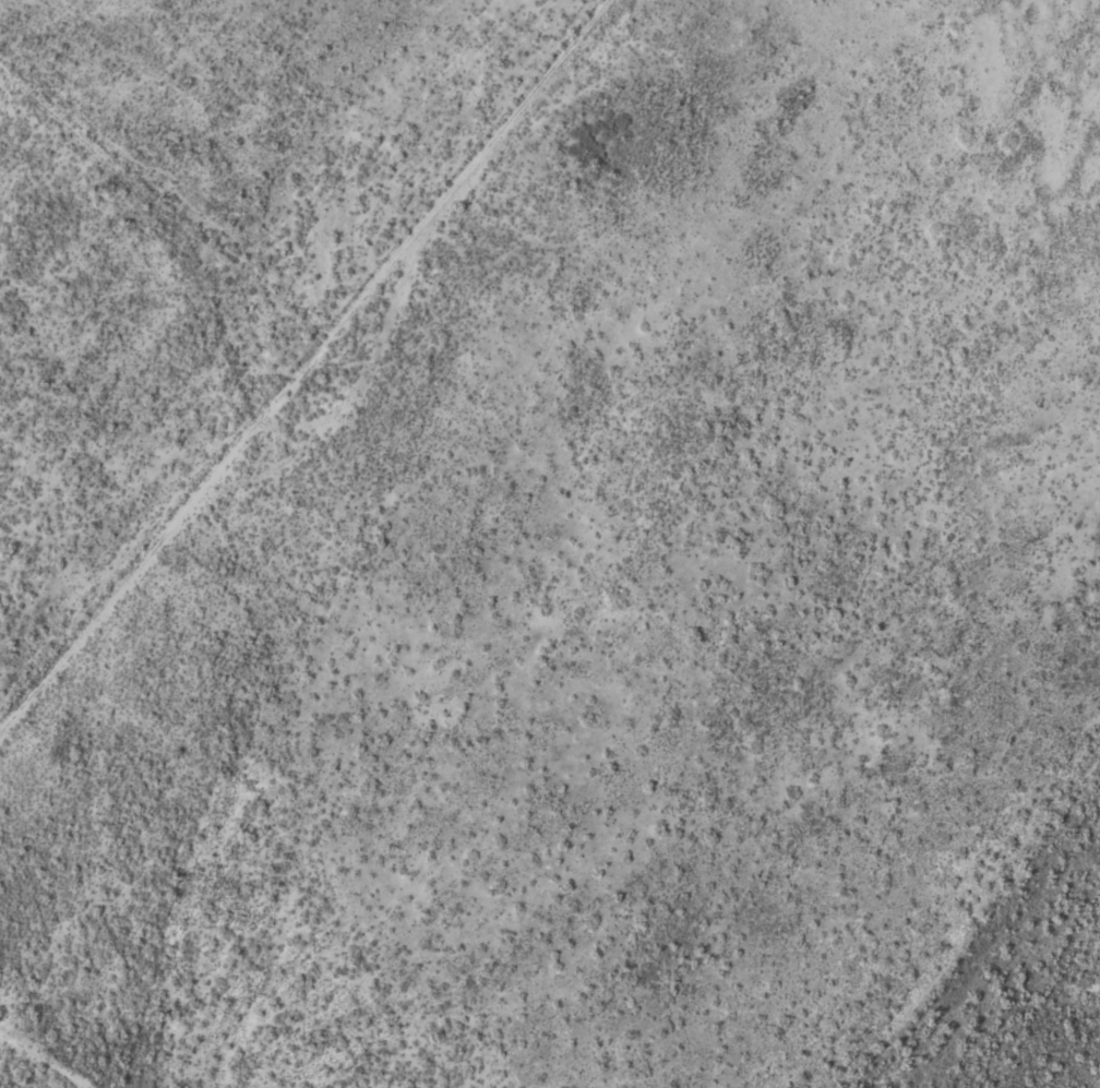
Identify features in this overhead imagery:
road: (258, 372)
road: (346, 400)
road: (204, 482)
road: (45, 1060)

